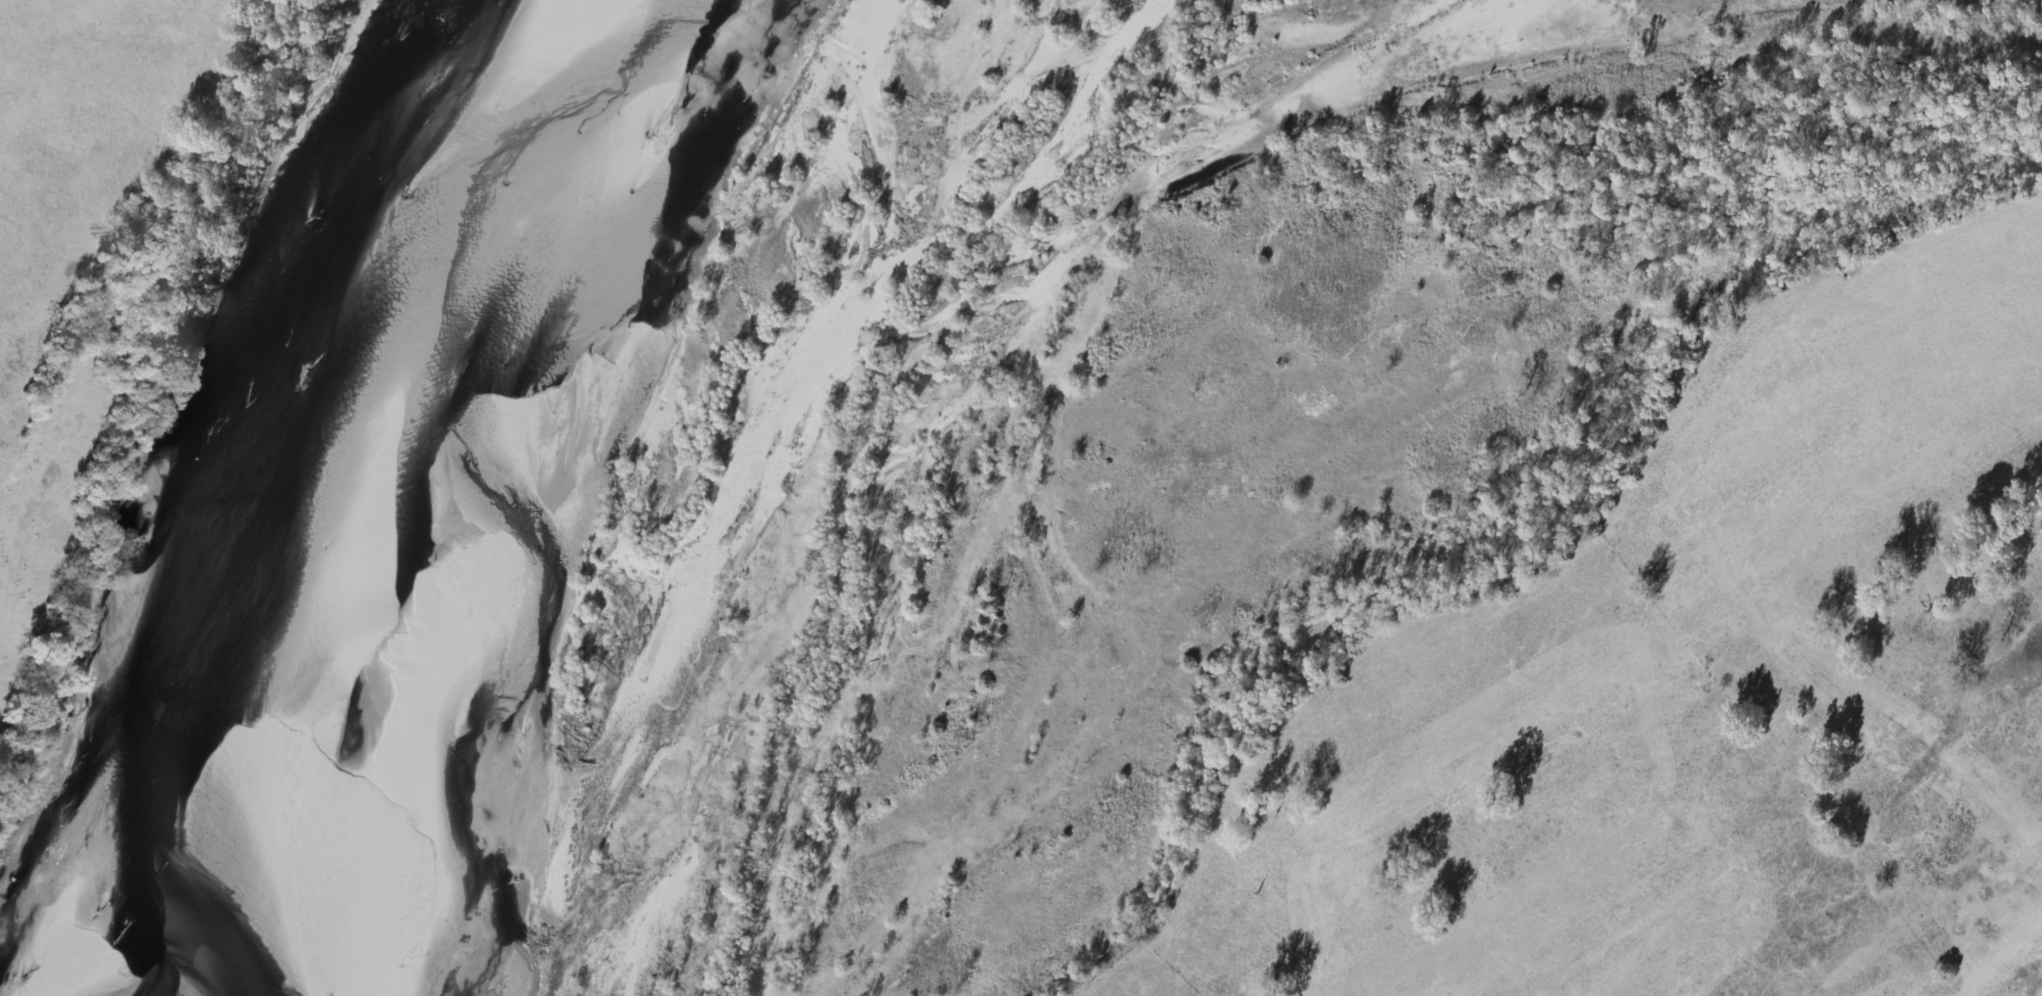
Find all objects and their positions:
river: (284, 472)

